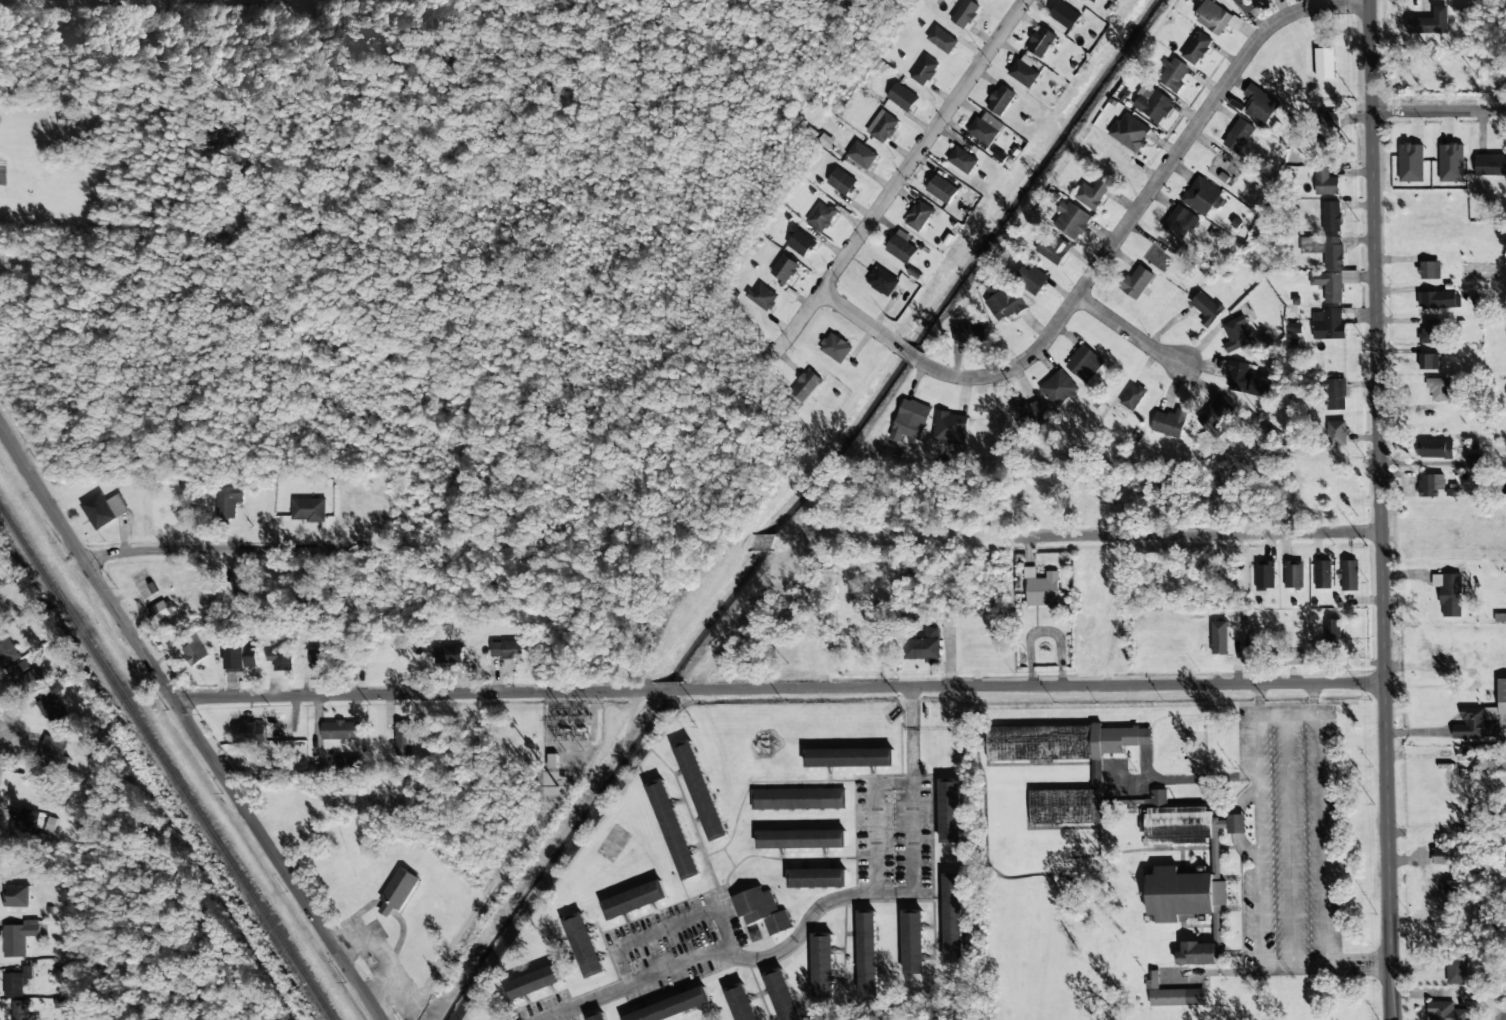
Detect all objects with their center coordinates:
building: (1096, 0)
building: (1238, 1)
building: (965, 13)
building: (1064, 15)
building: (1212, 17)
building: (1428, 23)
building: (942, 40)
building: (1041, 42)
building: (1196, 48)
building: (1325, 63)
building: (924, 70)
building: (1023, 71)
building: (1173, 76)
building: (901, 97)
building: (1000, 100)
building: (1259, 105)
road: (1438, 112)
building: (882, 126)
building: (1329, 128)
building: (985, 129)
building: (1130, 132)
building: (1238, 135)
building: (861, 155)
building: (962, 160)
building: (1410, 163)
building: (1451, 163)
building: (1490, 165)
road: (898, 179)
building: (841, 182)
building: (1325, 182)
building: (941, 190)
building: (1092, 194)
building: (1202, 196)
building: (918, 216)
building: (1331, 216)
building: (821, 217)
building: (1070, 221)
building: (1179, 223)
building: (800, 243)
building: (901, 247)
building: (1053, 250)
road: (1109, 250)
building: (1333, 252)
building: (783, 269)
building: (1429, 270)
building: (1032, 280)
building: (882, 281)
building: (1137, 282)
building: (1333, 284)
building: (761, 297)
building: (1436, 300)
building: (1005, 304)
building: (1206, 308)
building: (1330, 323)
building: (1430, 332)
building: (970, 334)
road: (1130, 334)
building: (1235, 334)
building: (835, 348)
building: (1428, 362)
building: (1084, 364)
building: (1243, 379)
building: (804, 386)
building: (1439, 388)
building: (1058, 389)
building: (1334, 394)
building: (1132, 397)
building: (1028, 412)
building: (1215, 417)
building: (910, 421)
building: (1168, 423)
building: (950, 428)
building: (1337, 433)
building: (1436, 449)
building: (1476, 461)
building: (1430, 485)
building: (226, 502)
building: (102, 509)
road: (1381, 509)
building: (308, 510)
road: (733, 545)
building: (1322, 574)
building: (1264, 575)
building: (1293, 575)
building: (1349, 576)
building: (241, 588)
building: (1449, 594)
building: (162, 612)
building: (1335, 632)
building: (1219, 638)
building: (924, 647)
building: (6, 649)
building: (512, 649)
building: (194, 652)
building: (448, 655)
building: (240, 657)
building: (318, 659)
building: (280, 660)
building: (35, 680)
road: (779, 689)
building: (1501, 696)
building: (51, 707)
building: (1475, 724)
road: (190, 725)
building: (340, 730)
power substation: (571, 733)
building: (250, 734)
building: (403, 738)
building: (53, 752)
building: (849, 758)
building: (1491, 761)
railway: (166, 763)
building: (347, 765)
building: (1096, 775)
building: (700, 790)
building: (799, 799)
building: (950, 810)
building: (1175, 822)
building: (1231, 824)
building: (28, 825)
building: (672, 829)
building: (802, 839)
building: (1444, 856)
building: (817, 878)
building: (1451, 887)
building: (397, 891)
building: (16, 896)
building: (1185, 896)
building: (634, 900)
building: (761, 911)
road: (810, 914)
building: (952, 919)
building: (755, 936)
building: (19, 938)
building: (912, 940)
building: (584, 945)
building: (1199, 954)
building: (867, 956)
building: (822, 964)
building: (1456, 970)
building: (534, 983)
building: (13, 985)
building: (1173, 994)
building: (781, 995)
building: (740, 1002)
building: (672, 1007)
building: (20, 1011)
building: (1445, 1011)
building: (599, 1016)

